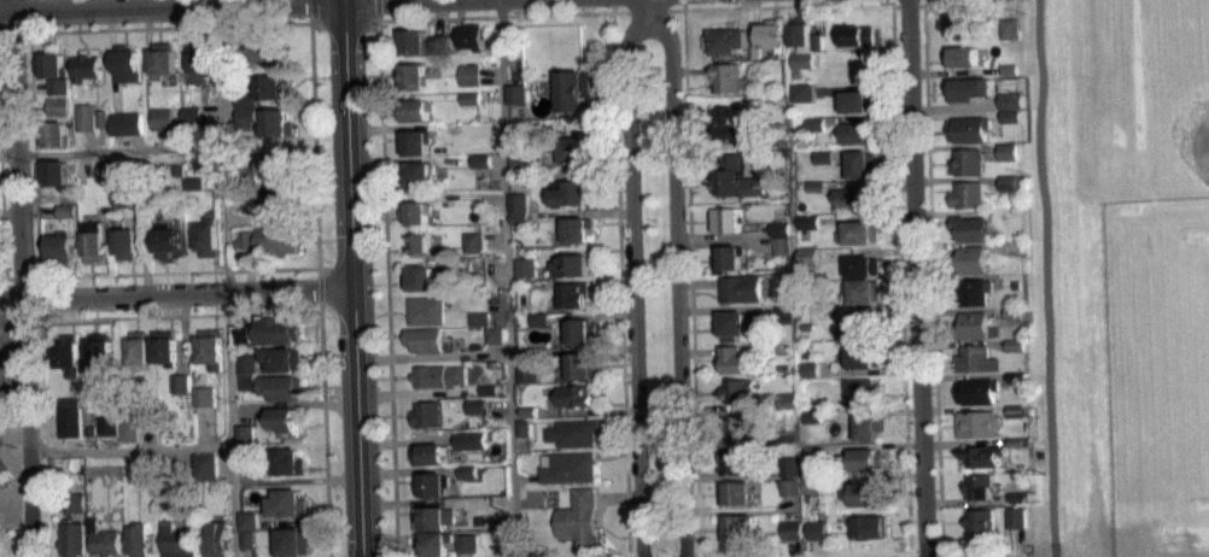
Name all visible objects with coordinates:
road: (682, 0)
road: (942, 0)
road: (612, 1)
road: (887, 1)
road: (171, 4)
road: (893, 4)
road: (682, 5)
road: (784, 5)
road: (648, 6)
road: (907, 6)
road: (921, 6)
road: (376, 10)
road: (646, 10)
road: (309, 11)
road: (620, 11)
road: (27, 14)
road: (497, 16)
road: (341, 20)
road: (275, 23)
building: (965, 23)
building: (1010, 28)
building: (801, 33)
building: (473, 35)
building: (773, 35)
building: (859, 35)
building: (411, 40)
building: (728, 40)
building: (818, 41)
building: (439, 43)
building: (262, 47)
building: (757, 49)
building: (440, 53)
building: (964, 55)
building: (162, 60)
building: (805, 60)
building: (49, 61)
building: (198, 61)
building: (124, 63)
building: (83, 68)
building: (857, 68)
building: (805, 69)
building: (1011, 69)
building: (413, 74)
building: (469, 74)
building: (730, 77)
building: (56, 86)
building: (268, 86)
building: (971, 88)
building: (574, 89)
building: (804, 92)
road: (29, 93)
building: (516, 93)
building: (244, 98)
building: (471, 98)
building: (859, 100)
building: (1012, 100)
building: (804, 101)
building: (516, 102)
building: (54, 106)
building: (469, 107)
building: (417, 109)
building: (57, 115)
building: (188, 115)
building: (82, 116)
building: (1012, 116)
building: (99, 117)
building: (243, 117)
building: (160, 118)
building: (737, 121)
building: (275, 122)
building: (123, 123)
building: (814, 123)
building: (188, 124)
building: (1011, 125)
building: (970, 129)
park: (1187, 131)
building: (52, 133)
building: (816, 133)
building: (857, 133)
building: (414, 142)
road: (110, 149)
building: (574, 152)
building: (1009, 152)
building: (824, 157)
building: (480, 160)
building: (969, 160)
building: (1009, 160)
building: (275, 163)
building: (862, 163)
building: (520, 164)
building: (481, 170)
building: (51, 171)
building: (99, 172)
building: (419, 175)
building: (735, 177)
building: (189, 182)
building: (1012, 182)
building: (817, 186)
building: (189, 192)
building: (568, 192)
building: (1010, 192)
building: (969, 194)
building: (445, 197)
building: (119, 198)
building: (851, 198)
building: (274, 199)
building: (519, 201)
building: (119, 207)
building: (63, 210)
building: (416, 211)
road: (31, 215)
building: (519, 217)
building: (728, 219)
building: (807, 221)
building: (415, 222)
building: (578, 228)
building: (971, 228)
building: (781, 229)
building: (807, 230)
building: (860, 231)
building: (205, 236)
building: (123, 239)
building: (164, 239)
building: (268, 239)
building: (88, 240)
building: (473, 241)
building: (419, 242)
building: (782, 245)
building: (57, 247)
building: (1011, 247)
building: (806, 256)
building: (728, 258)
building: (971, 259)
building: (571, 265)
building: (863, 265)
building: (526, 266)
road: (179, 271)
road: (690, 271)
building: (419, 276)
building: (526, 276)
road: (508, 277)
road: (918, 277)
road: (933, 277)
road: (1047, 277)
road: (16, 278)
road: (224, 278)
road: (351, 278)
road: (633, 281)
road: (678, 281)
road: (901, 281)
road: (33, 282)
building: (1016, 285)
road: (317, 288)
road: (385, 288)
building: (741, 288)
road: (175, 291)
building: (864, 291)
building: (974, 291)
building: (573, 295)
building: (808, 305)
building: (422, 310)
building: (1014, 312)
building: (783, 313)
road: (176, 315)
building: (479, 317)
road: (620, 319)
building: (732, 324)
building: (973, 324)
building: (479, 327)
building: (859, 328)
building: (275, 329)
building: (579, 330)
building: (785, 332)
building: (239, 334)
building: (495, 334)
building: (425, 339)
building: (239, 344)
building: (1016, 344)
building: (135, 347)
building: (162, 347)
building: (208, 347)
building: (95, 348)
building: (62, 352)
building: (863, 357)
building: (281, 358)
building: (735, 358)
building: (977, 358)
building: (245, 362)
building: (582, 365)
building: (785, 368)
building: (811, 369)
building: (527, 373)
building: (438, 375)
building: (1017, 377)
building: (176, 382)
building: (527, 382)
building: (273, 385)
building: (199, 389)
building: (740, 389)
building: (977, 389)
building: (859, 391)
building: (177, 392)
building: (577, 394)
building: (789, 400)
building: (200, 405)
building: (475, 405)
building: (1016, 410)
building: (528, 411)
building: (427, 412)
building: (475, 415)
building: (64, 416)
building: (813, 416)
building: (284, 420)
building: (979, 423)
building: (103, 424)
building: (741, 424)
building: (868, 426)
building: (524, 427)
building: (84, 429)
road: (322, 429)
building: (124, 430)
building: (574, 432)
building: (103, 434)
building: (241, 434)
building: (785, 436)
road: (39, 439)
building: (471, 439)
building: (1016, 441)
road: (125, 448)
building: (471, 448)
building: (427, 453)
building: (814, 455)
building: (983, 456)
building: (240, 458)
building: (737, 459)
building: (868, 459)
building: (144, 461)
building: (287, 461)
building: (814, 464)
building: (203, 465)
building: (789, 465)
building: (570, 467)
building: (240, 469)
park: (4, 471)
building: (467, 471)
building: (790, 476)
building: (467, 480)
building: (431, 483)
building: (812, 483)
building: (790, 487)
building: (979, 487)
building: (738, 492)
building: (864, 493)
building: (813, 494)
building: (790, 496)
building: (1018, 497)
building: (71, 500)
building: (286, 502)
building: (863, 503)
building: (70, 511)
building: (433, 517)
building: (1016, 517)
building: (580, 518)
building: (245, 520)
building: (980, 522)
building: (869, 526)
building: (738, 528)
building: (794, 529)
building: (816, 529)
building: (68, 538)
building: (214, 538)
building: (244, 538)
building: (100, 539)
building: (132, 539)
building: (793, 539)
building: (817, 539)
building: (433, 540)
building: (290, 541)
building: (176, 543)
building: (467, 543)
road: (863, 555)
road: (629, 556)

